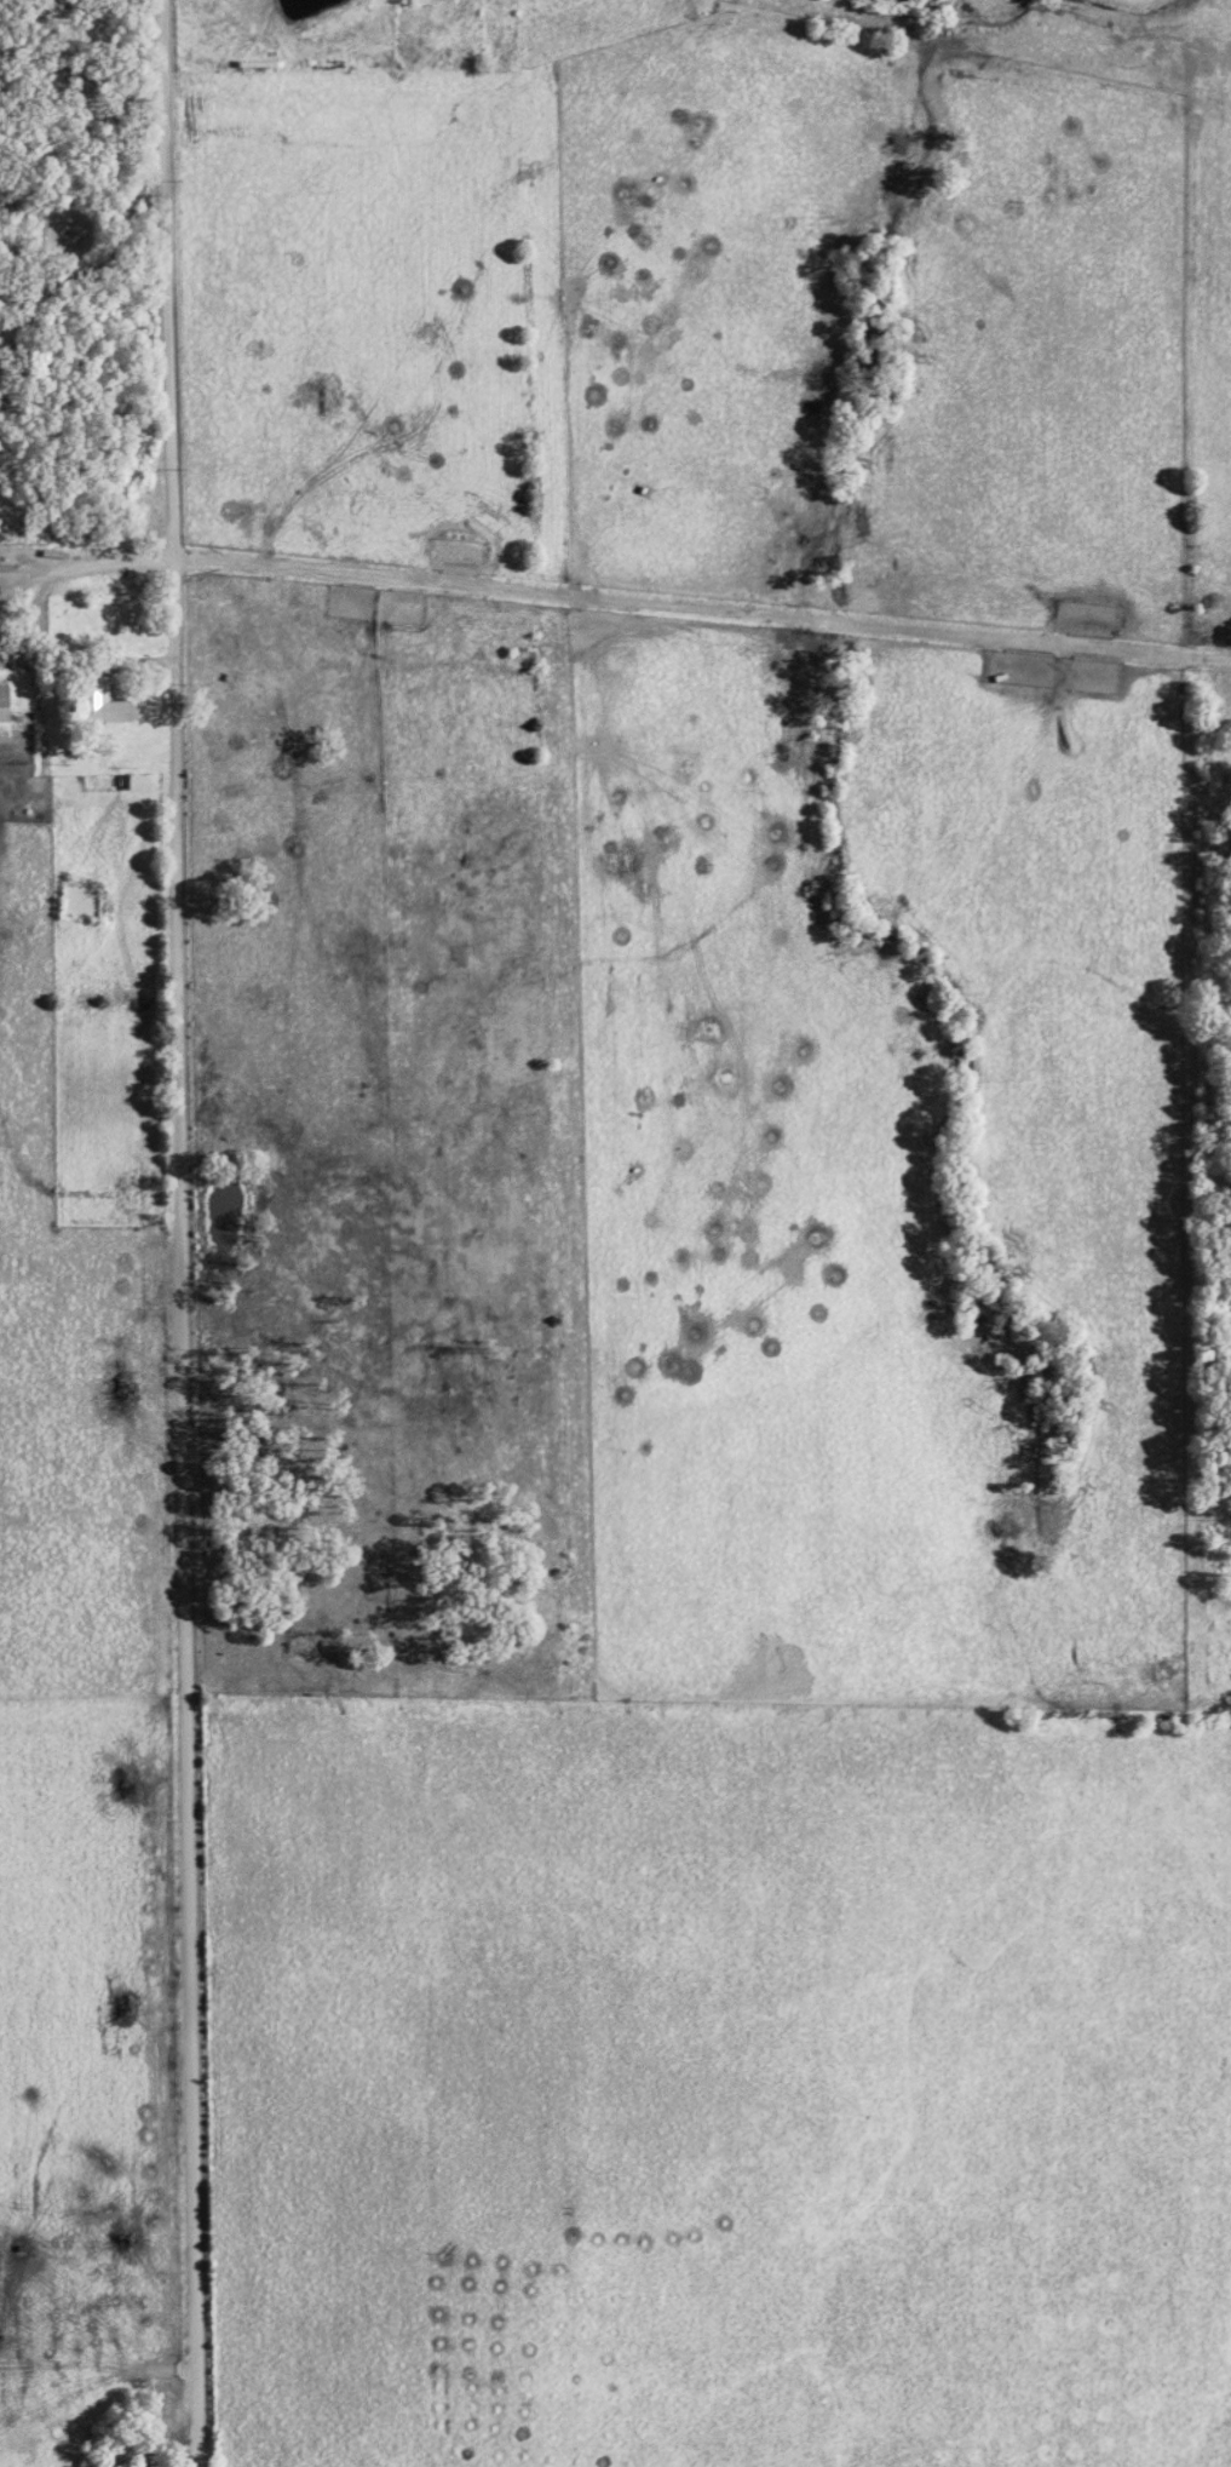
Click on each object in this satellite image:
road: (82, 568)
building: (4, 706)
building: (109, 708)
road: (184, 1233)

